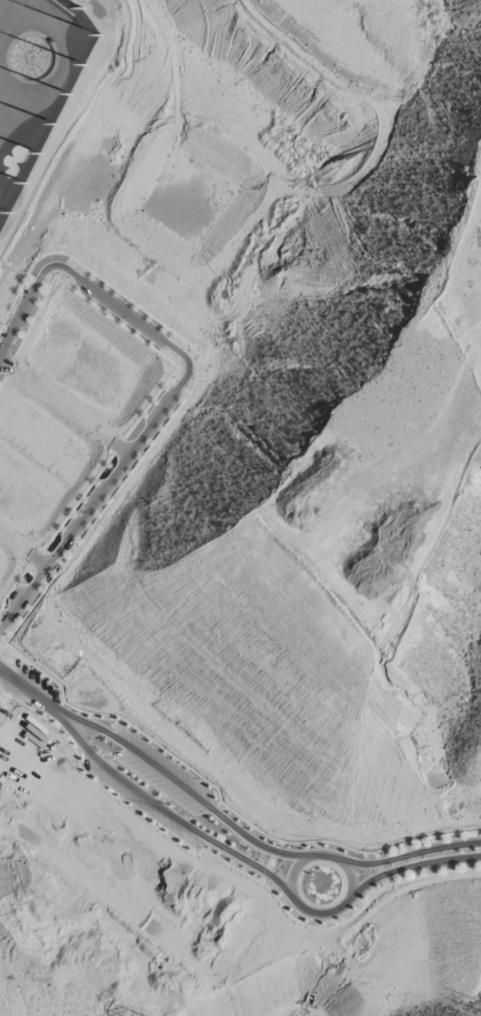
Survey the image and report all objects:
road: (68, 261)
road: (63, 268)
road: (59, 275)
road: (31, 278)
road: (38, 281)
road: (45, 285)
road: (115, 322)
road: (6, 365)
road: (10, 367)
road: (3, 380)
road: (171, 381)
road: (177, 386)
road: (178, 387)
road: (185, 391)
road: (187, 395)
road: (62, 404)
road: (117, 447)
road: (119, 448)
road: (77, 502)
road: (14, 543)
road: (41, 550)
road: (51, 556)
road: (33, 558)
road: (37, 560)
road: (59, 563)
road: (29, 573)
road: (37, 578)
road: (17, 584)
road: (44, 584)
road: (13, 586)
road: (18, 595)
road: (32, 694)
road: (193, 796)
road: (219, 800)
road: (183, 824)
road: (280, 845)
road: (275, 852)
road: (377, 856)
road: (404, 857)
road: (271, 863)
road: (378, 863)
road: (234, 868)
road: (380, 869)
road: (265, 872)
road: (391, 872)
road: (293, 873)
road: (382, 875)
road: (351, 878)
road: (262, 879)
road: (384, 883)

